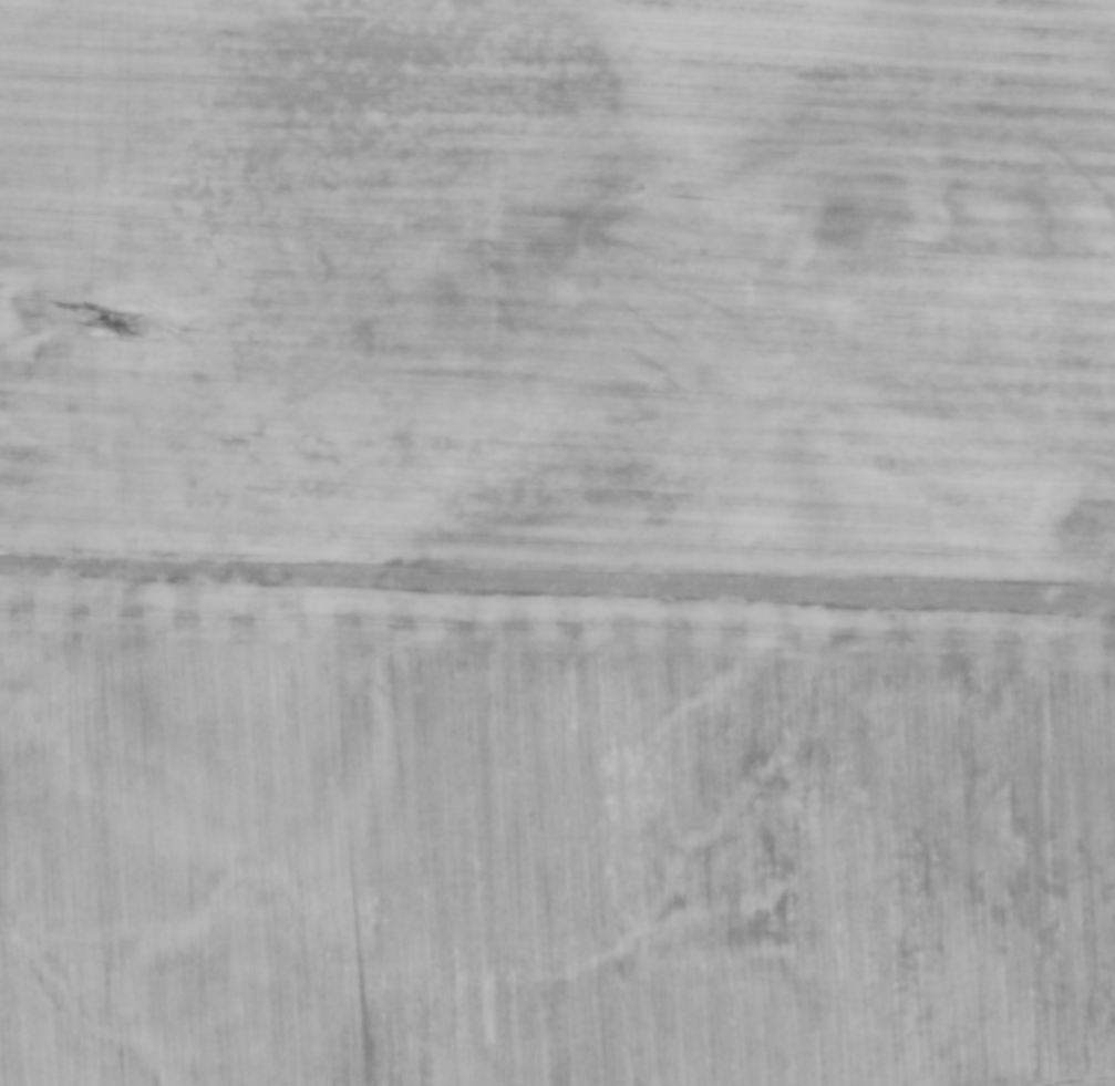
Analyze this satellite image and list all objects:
power tower: (130, 323)
road: (557, 608)

